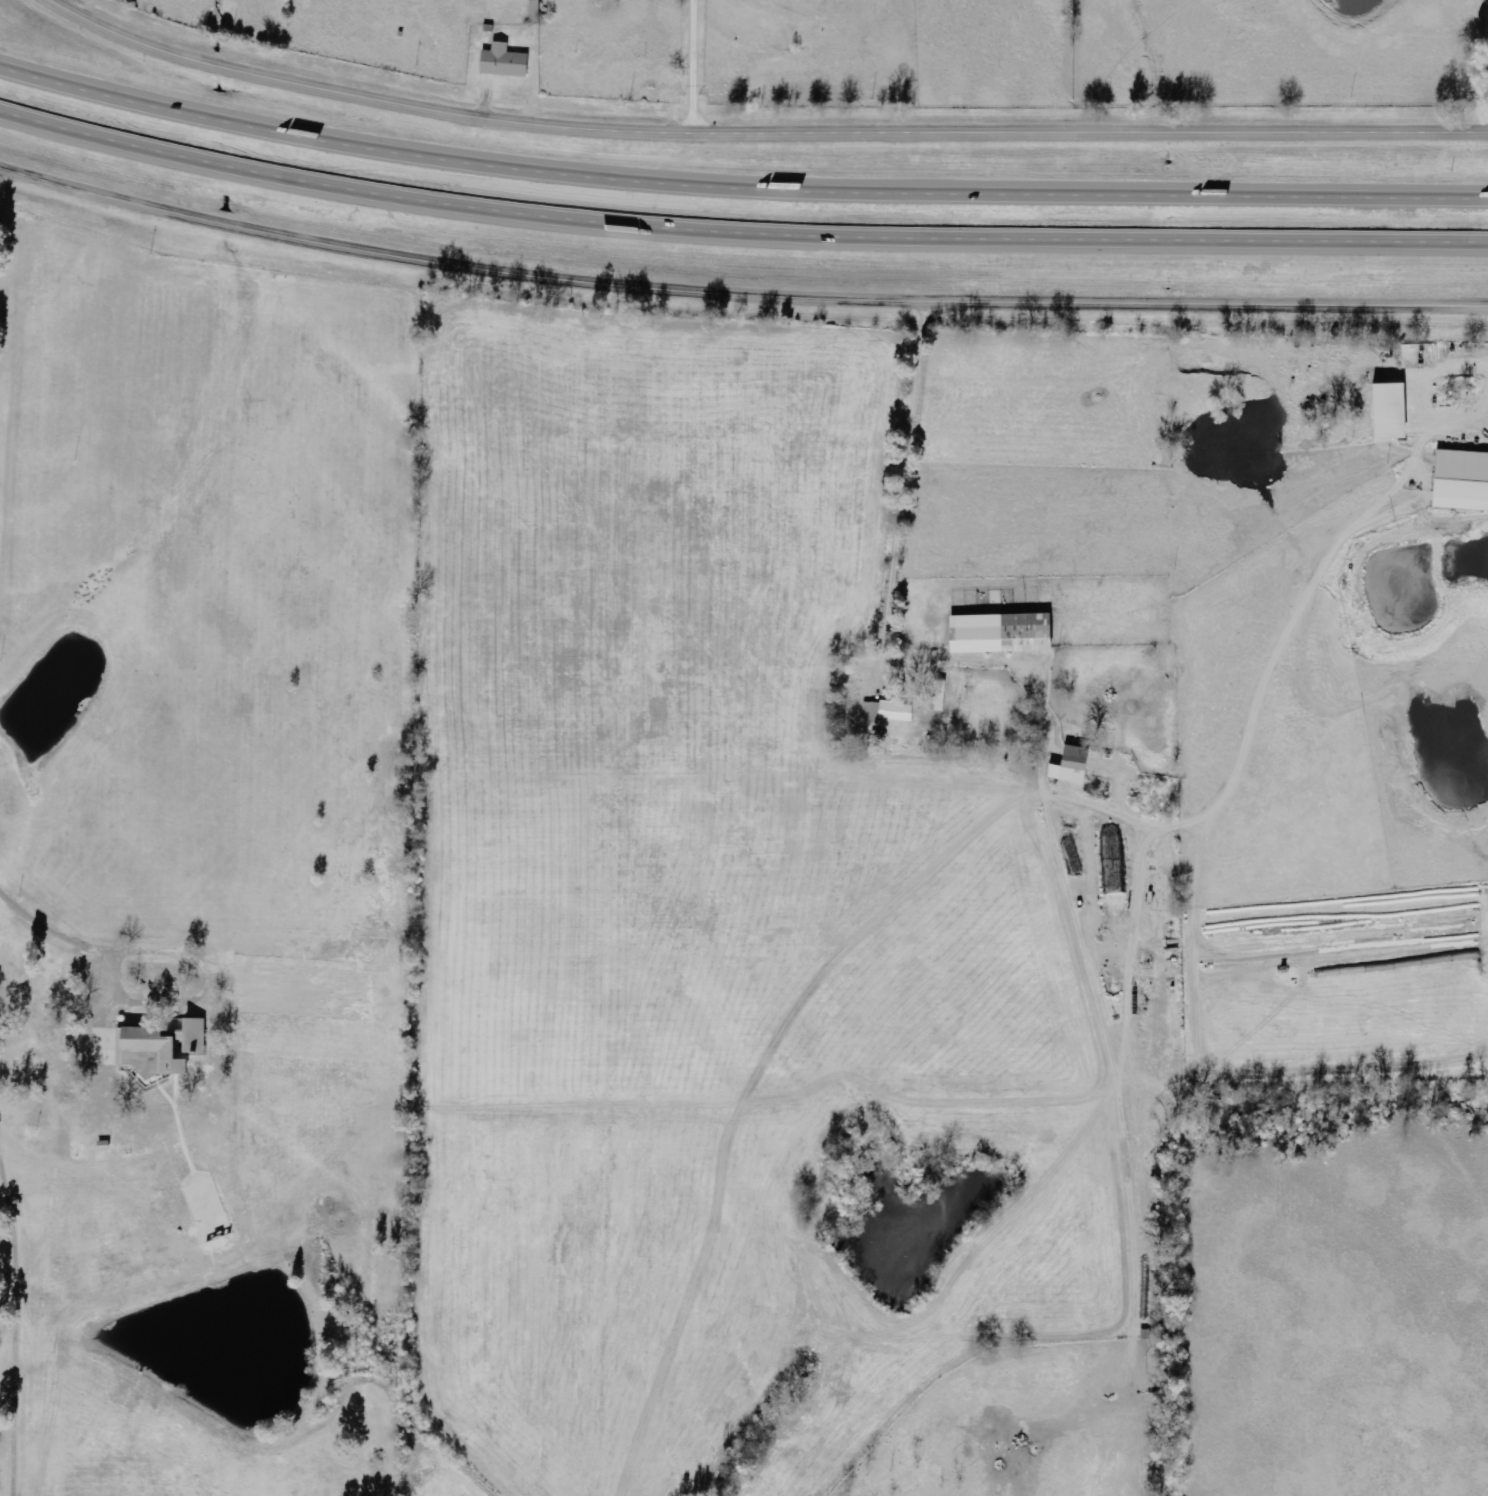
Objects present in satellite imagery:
building: (505, 61)
road: (758, 135)
road: (738, 179)
road: (738, 226)
road: (737, 294)
building: (1391, 411)
building: (1462, 480)
building: (1001, 633)
building: (941, 696)
building: (889, 712)
building: (1072, 765)

